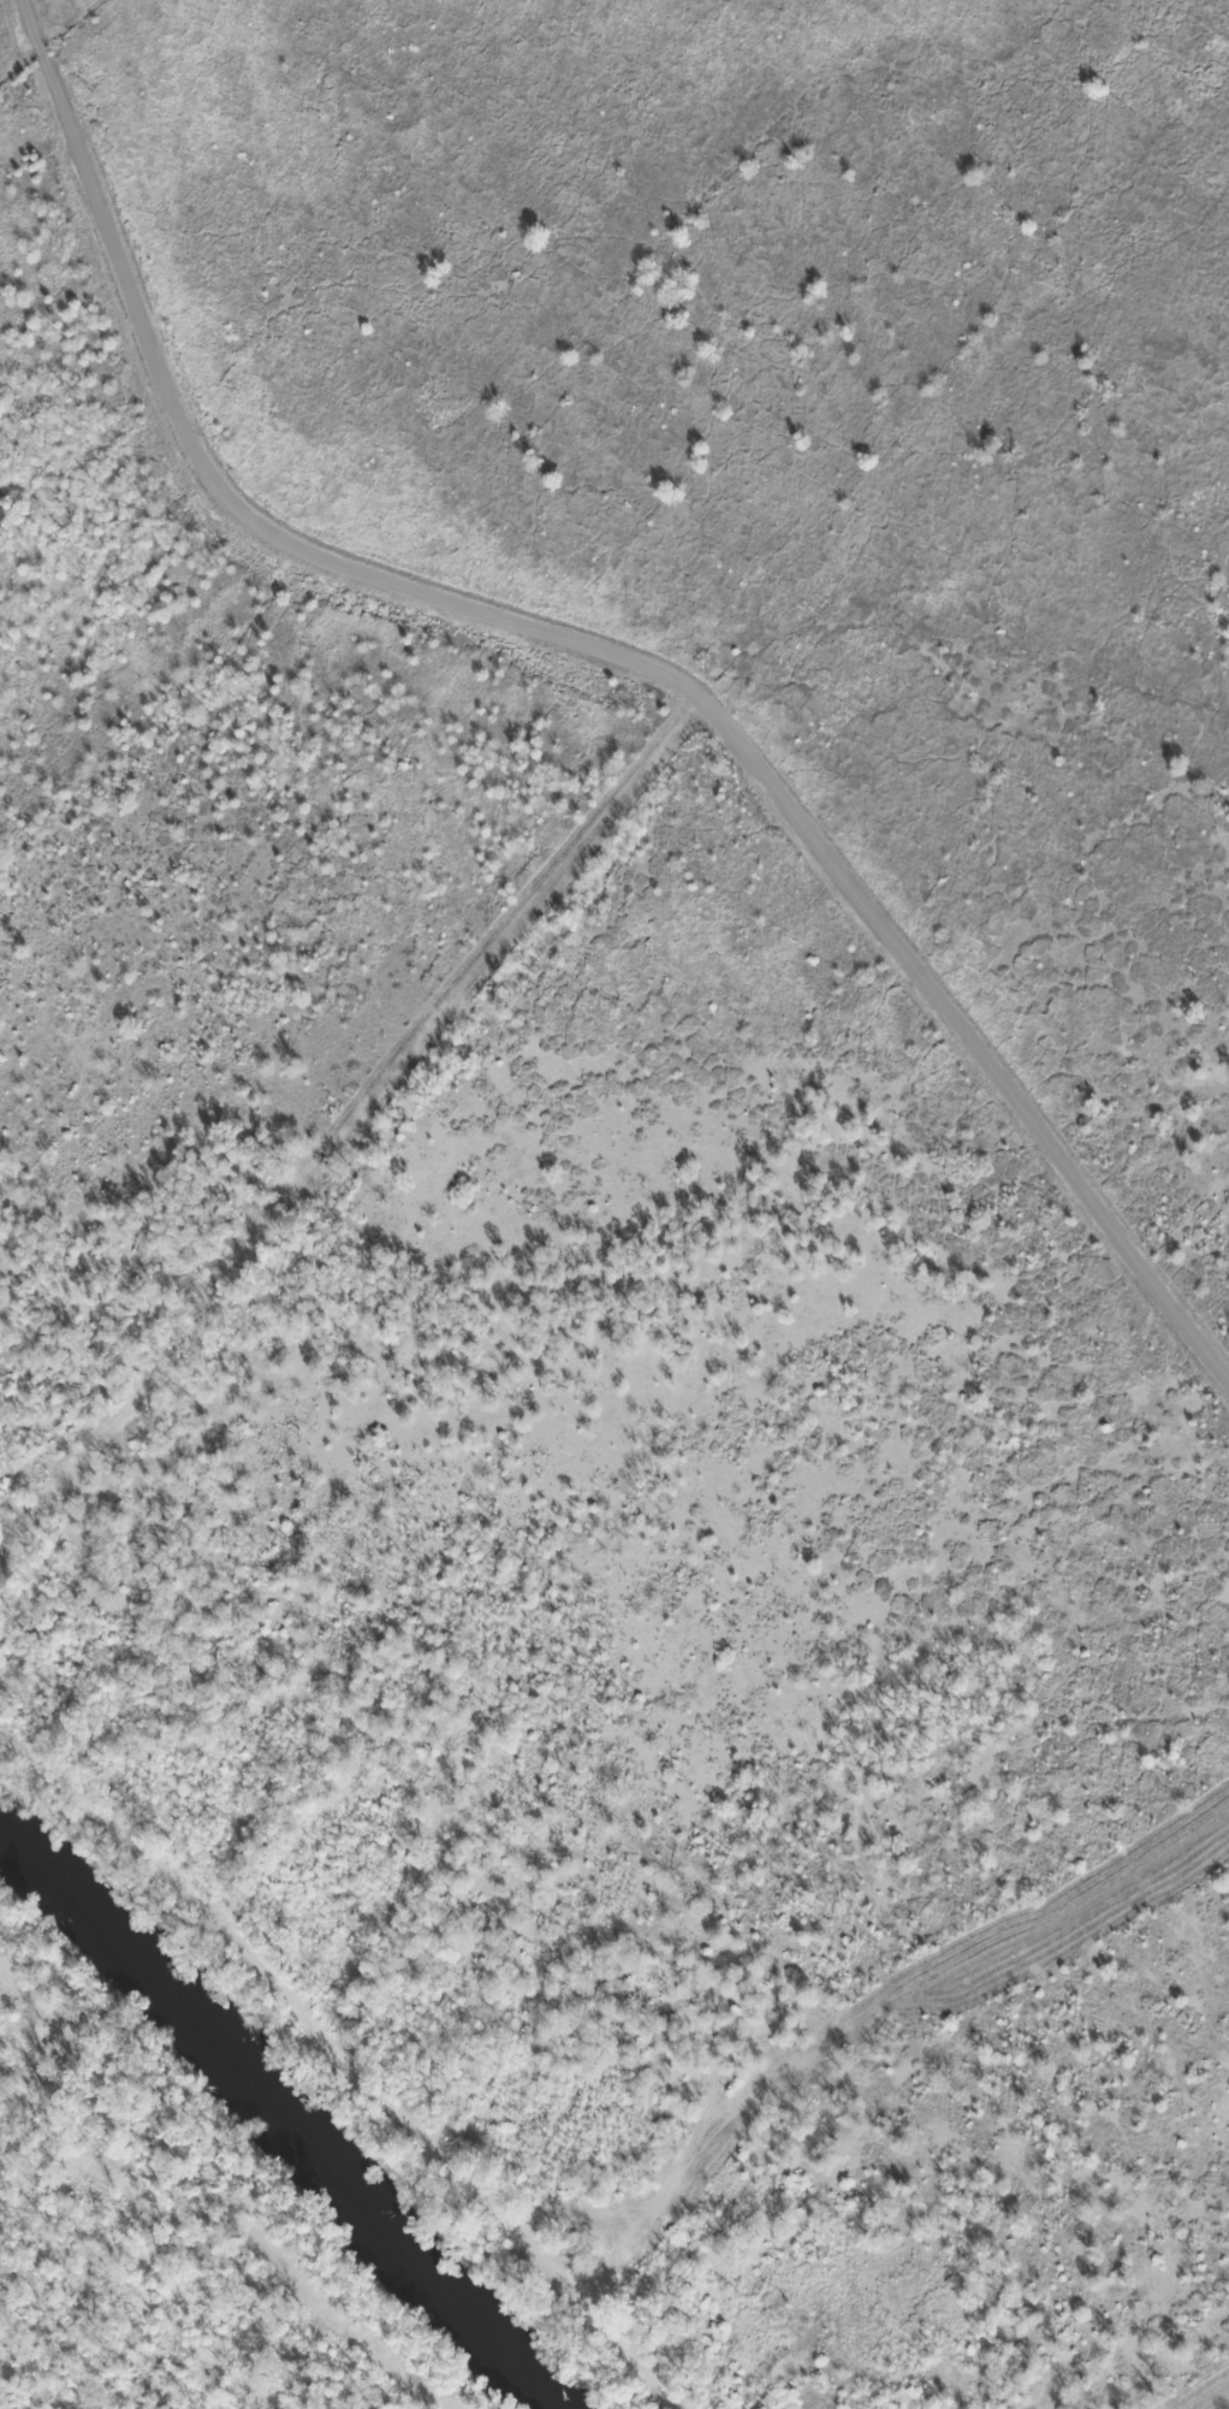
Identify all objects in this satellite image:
road: (608, 656)
road: (349, 2054)
river: (286, 2118)

